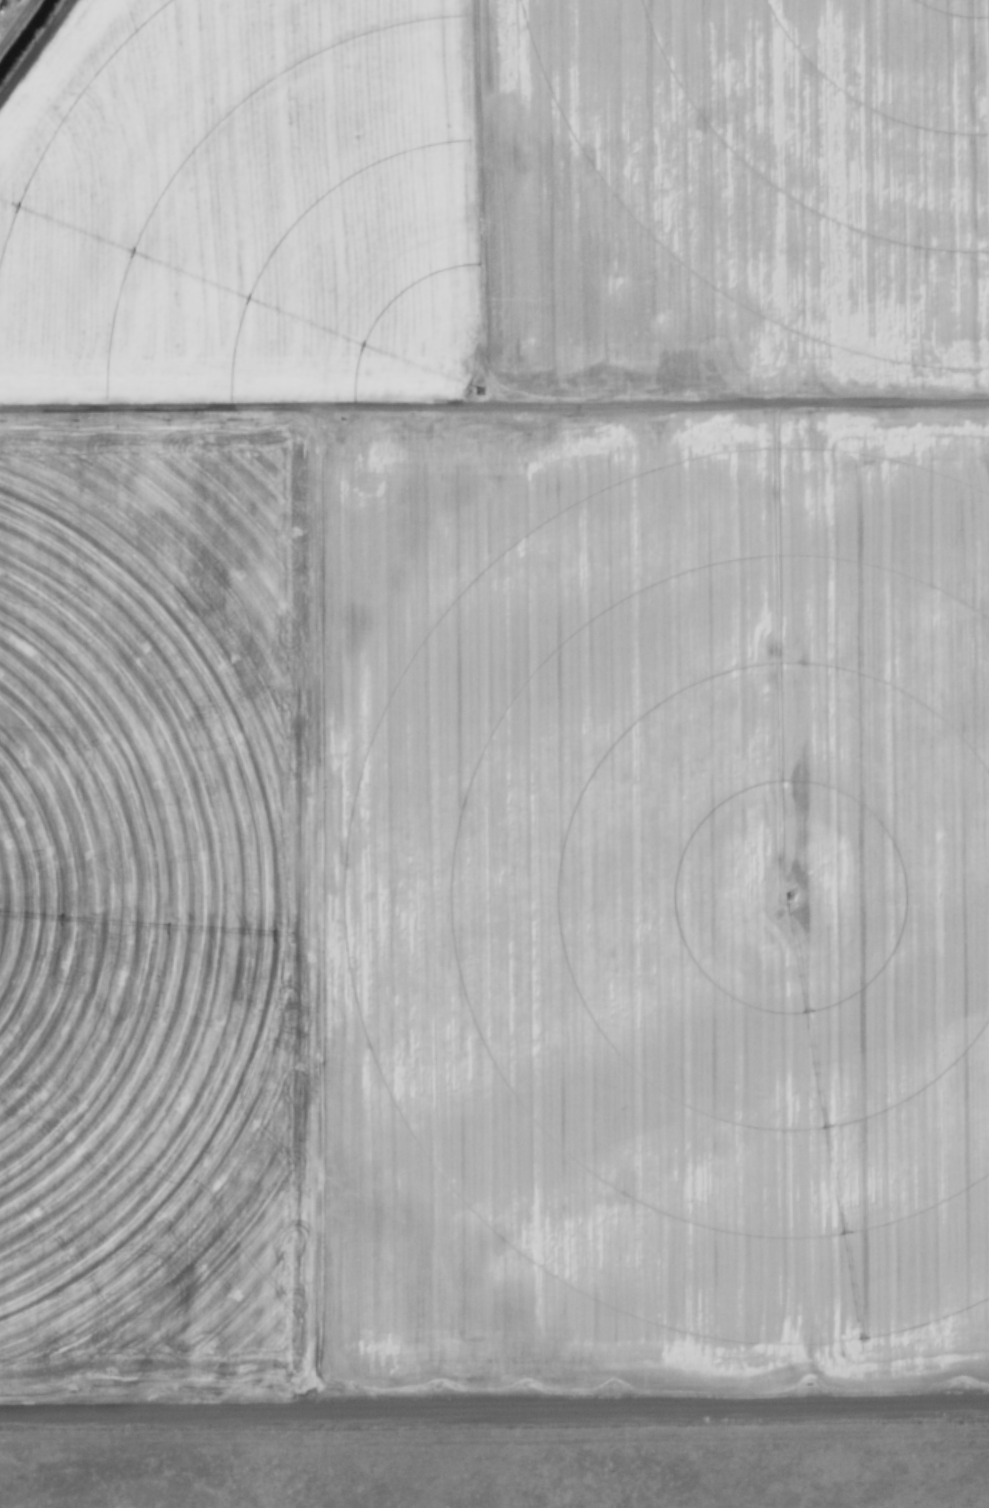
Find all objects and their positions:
road: (494, 1411)

